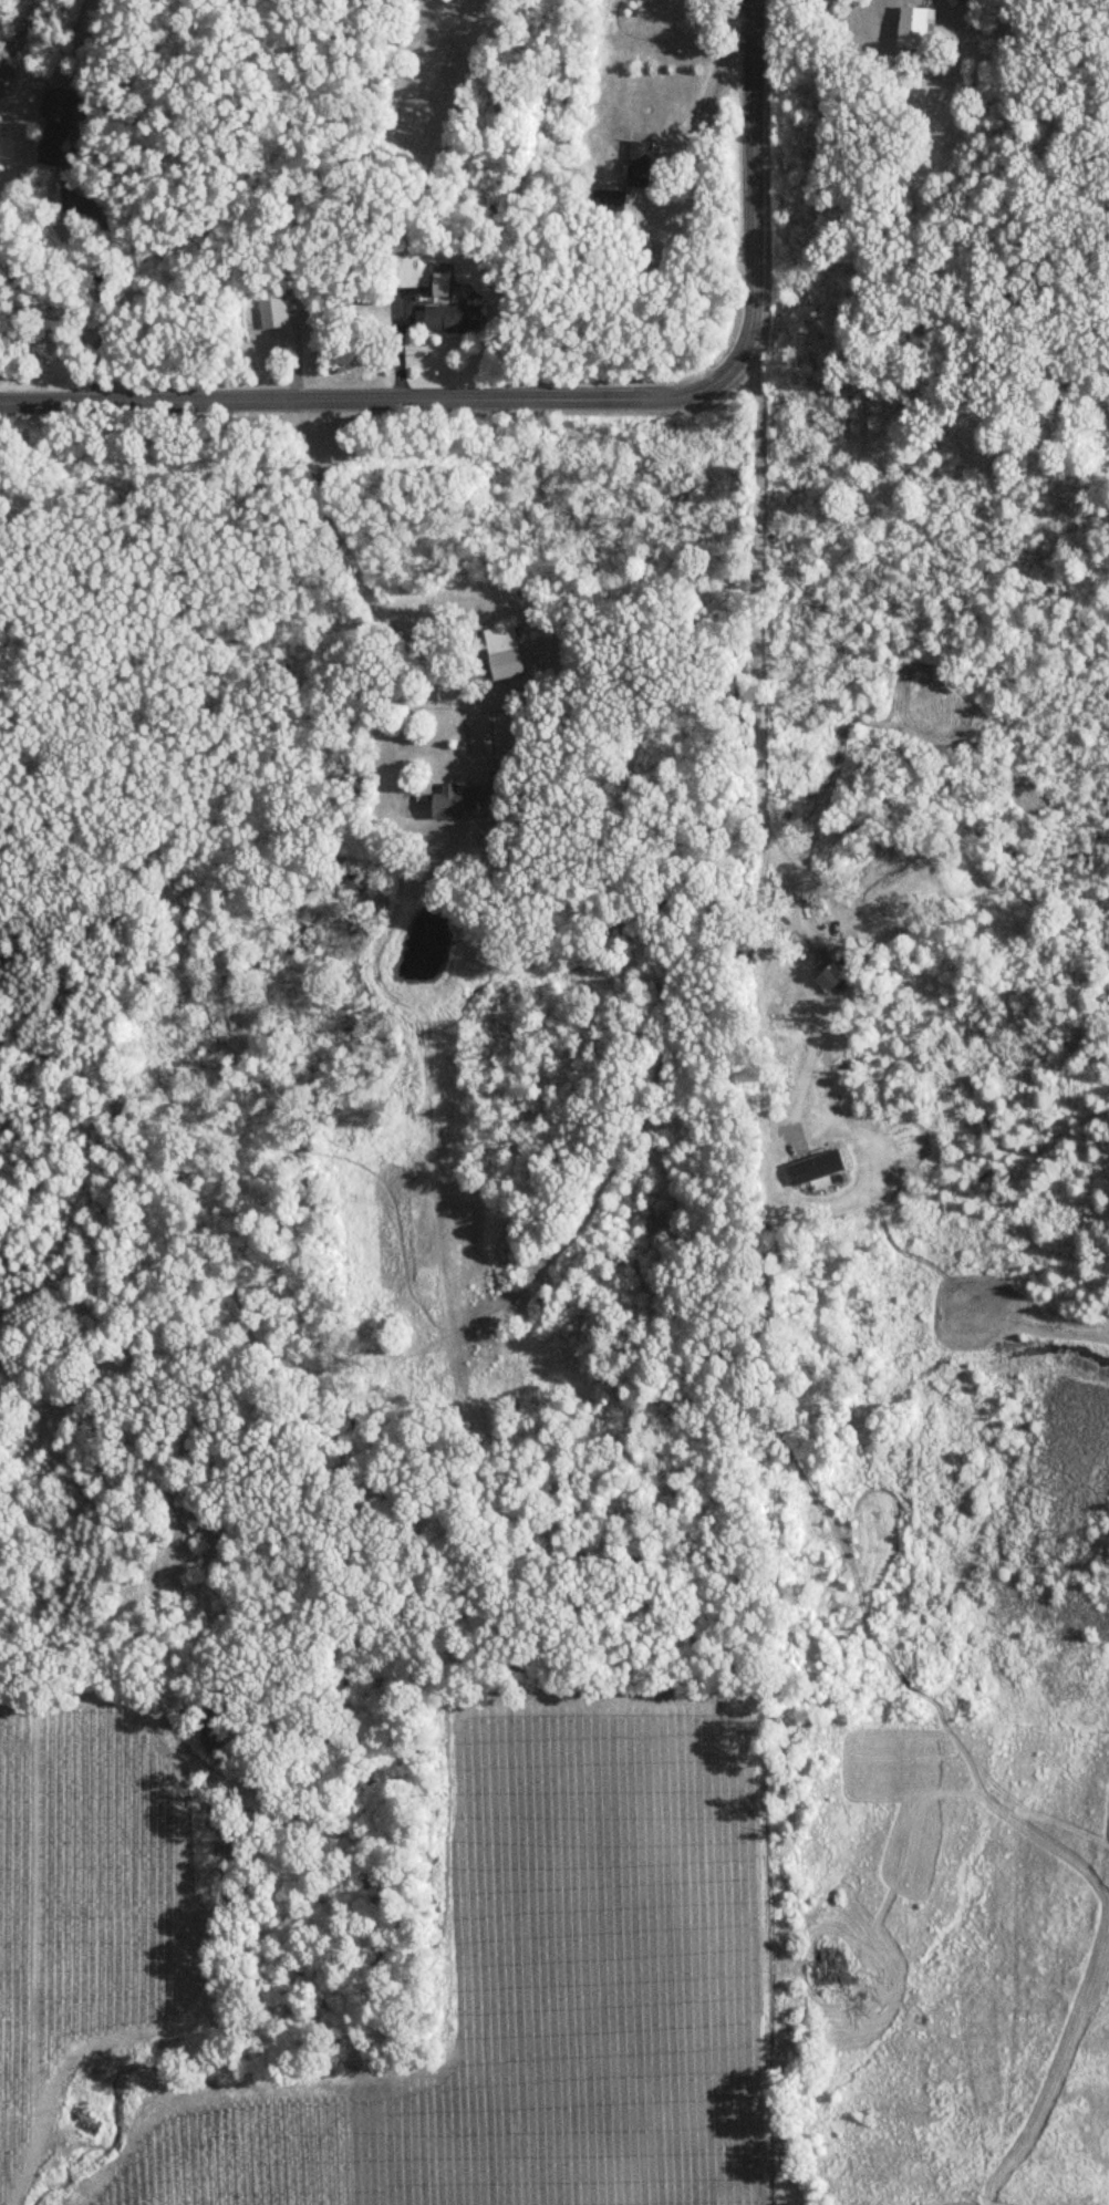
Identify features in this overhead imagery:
building: (918, 29)
building: (56, 125)
building: (643, 165)
building: (618, 200)
building: (105, 215)
road: (754, 230)
road: (100, 284)
building: (443, 284)
building: (274, 313)
building: (457, 319)
road: (327, 403)
road: (373, 602)
building: (504, 639)
building: (510, 665)
road: (760, 770)
building: (467, 800)
building: (899, 897)
building: (833, 981)

